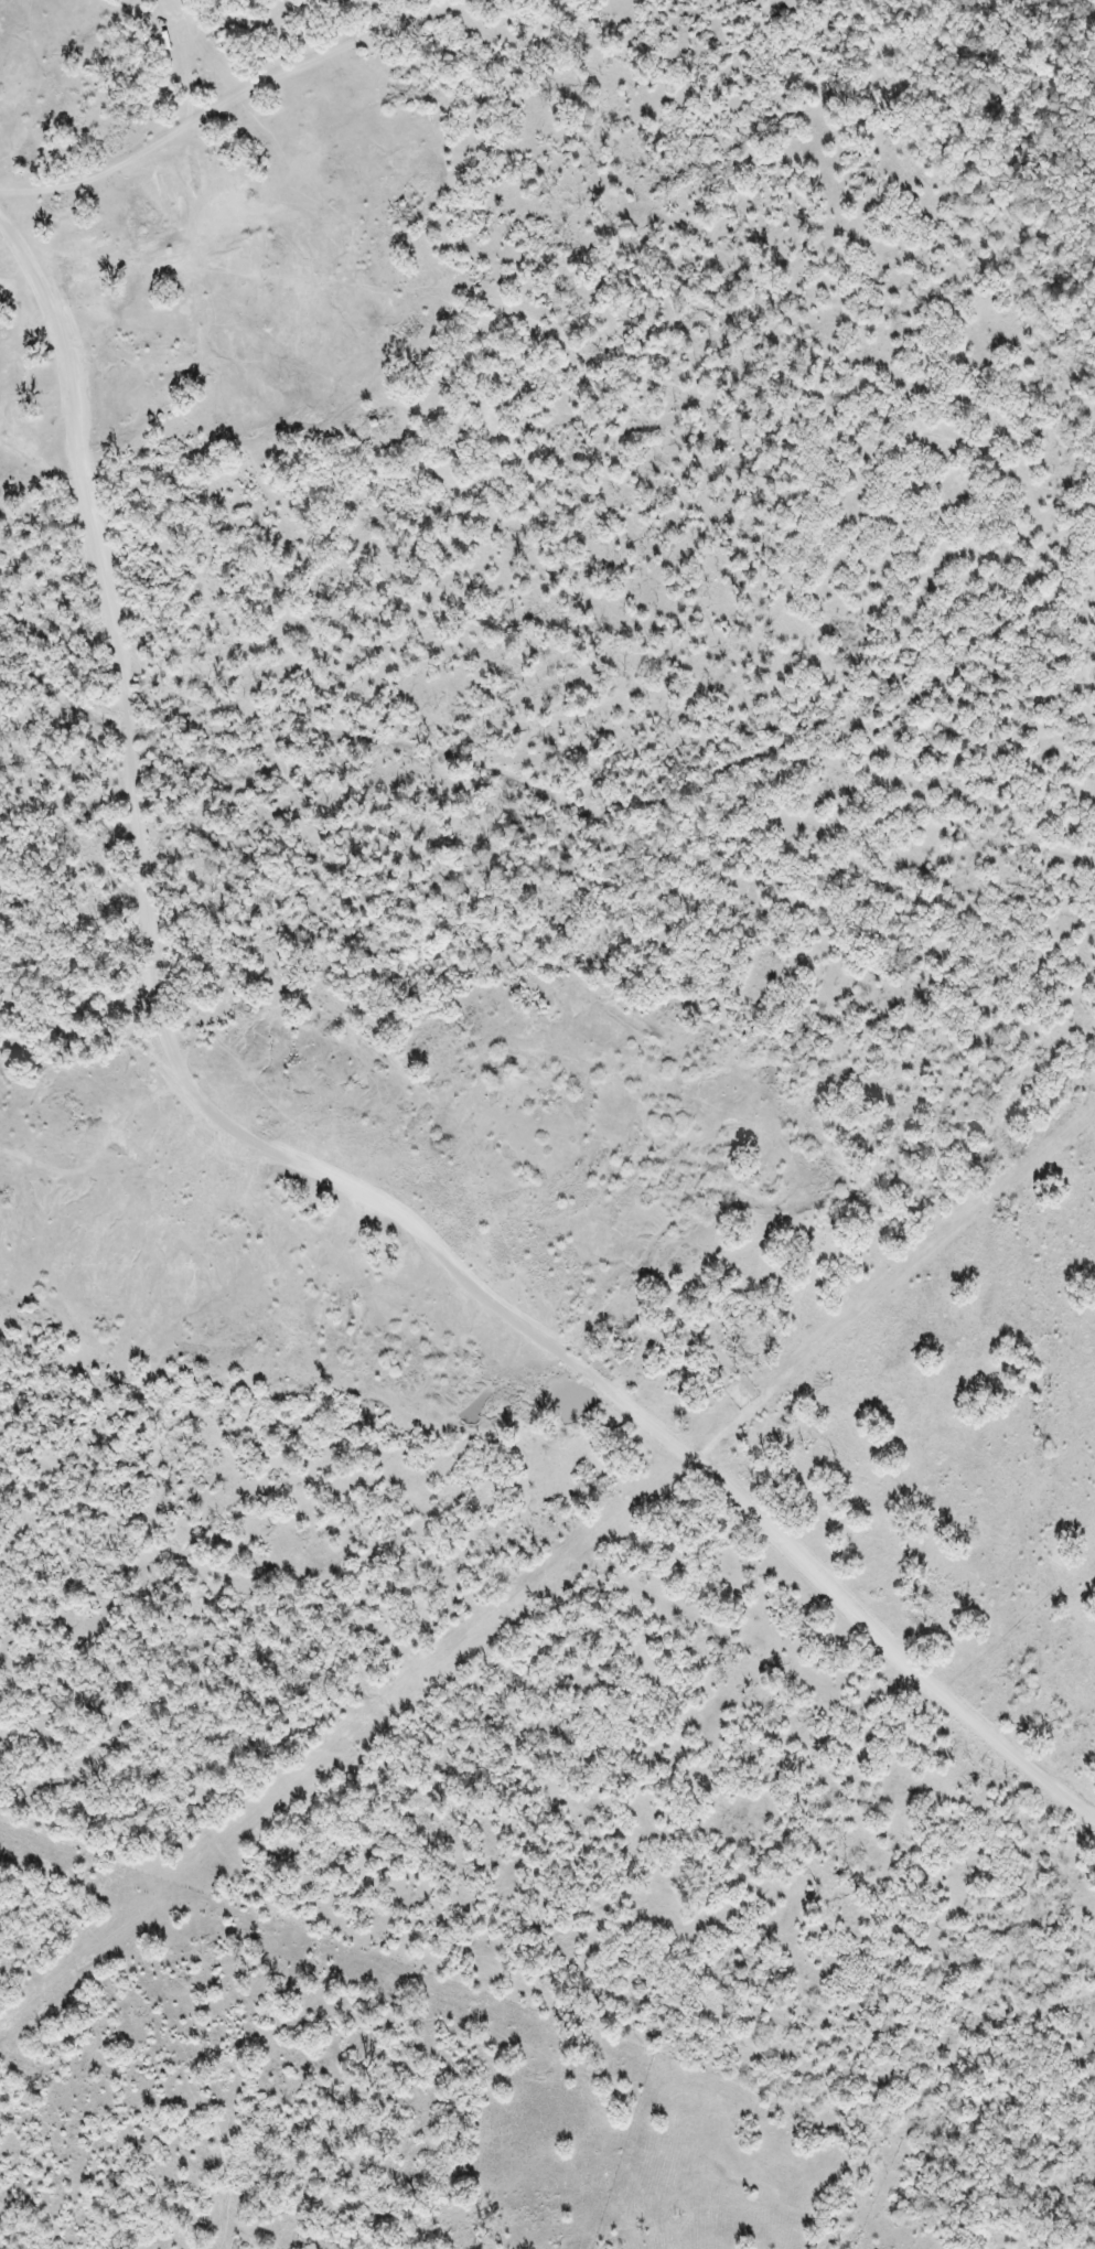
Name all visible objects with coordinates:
road: (304, 1174)

